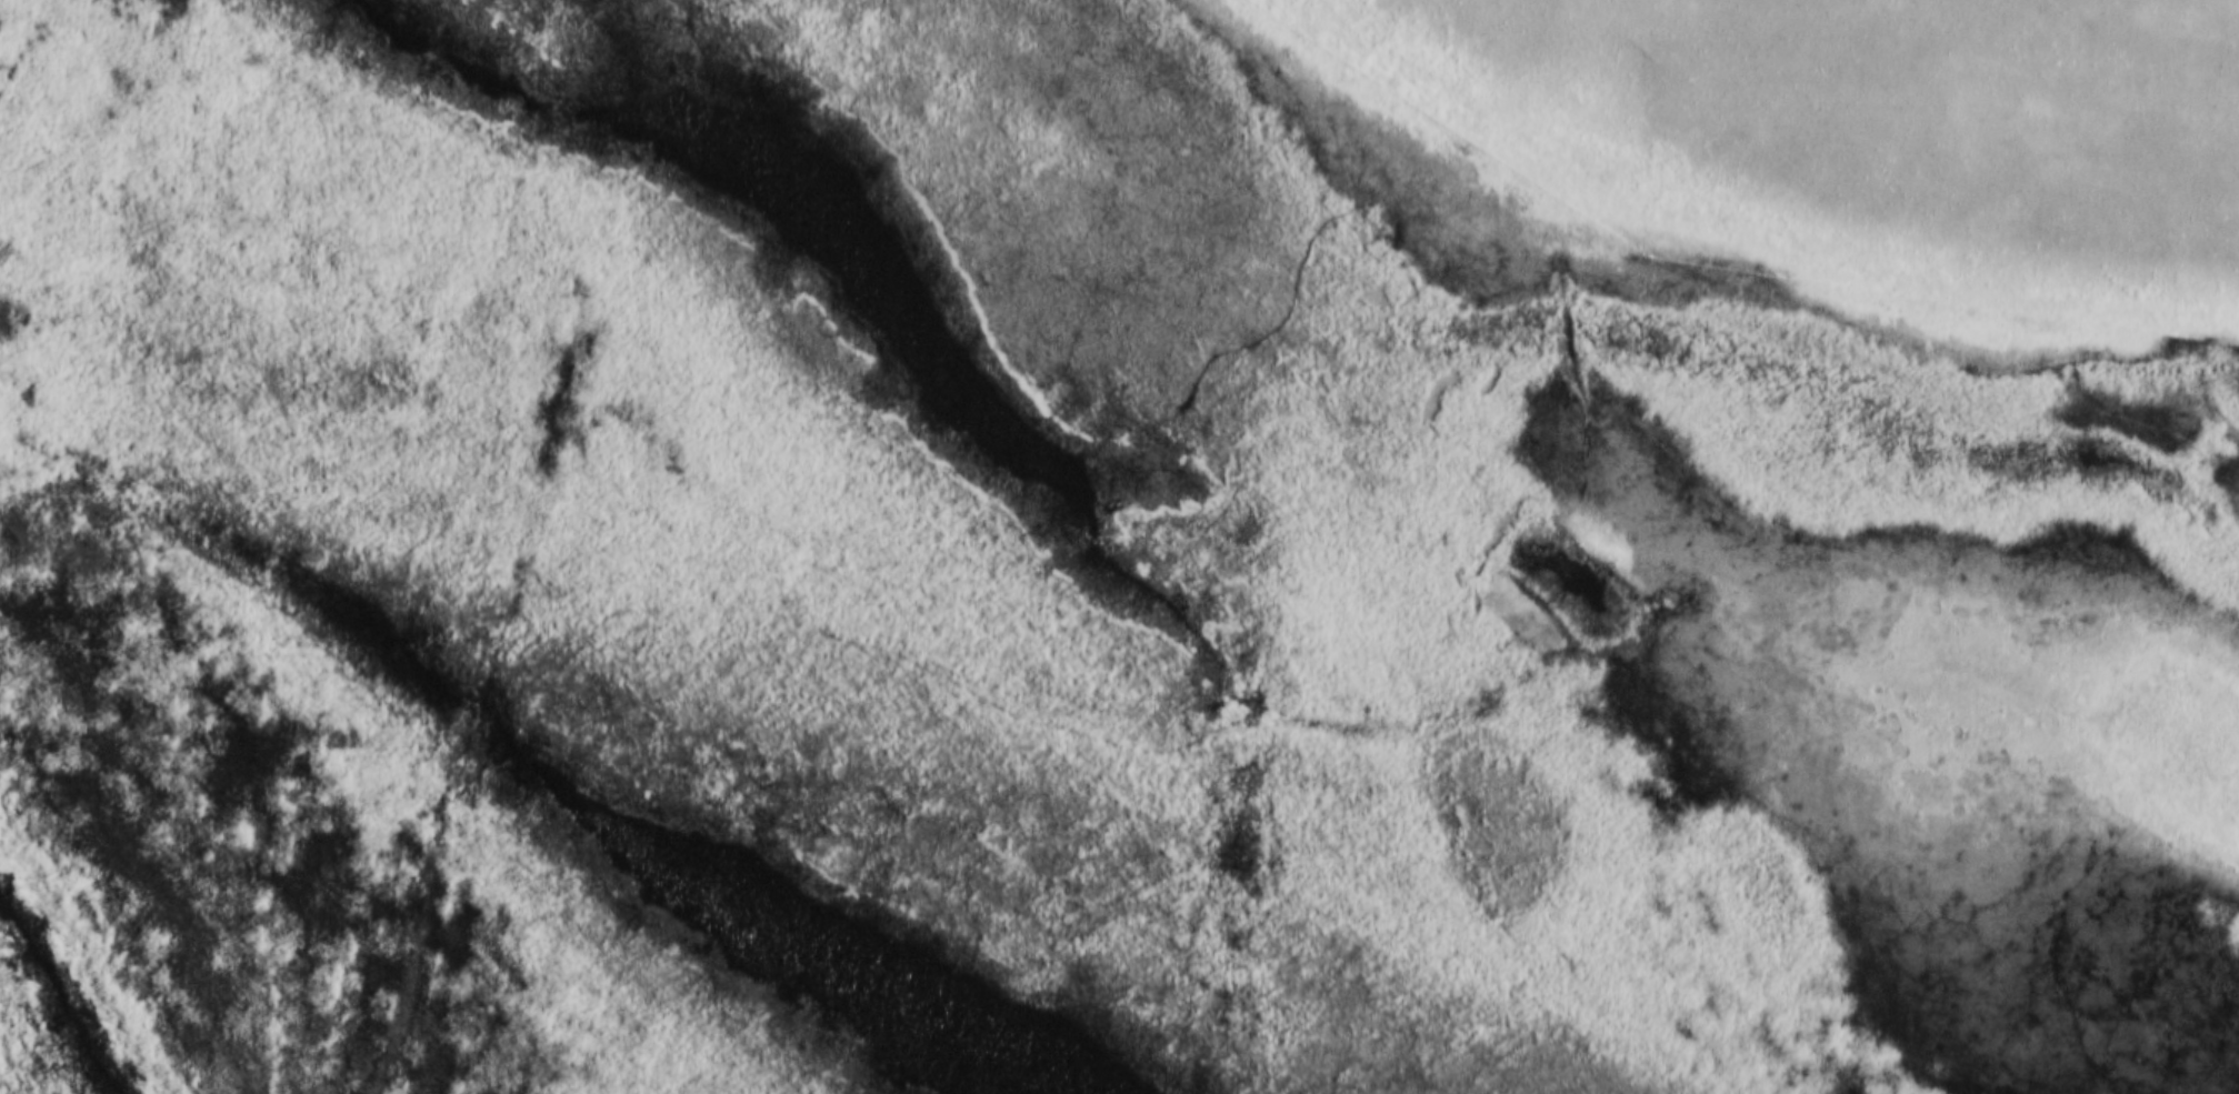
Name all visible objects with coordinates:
river: (56, 1020)

